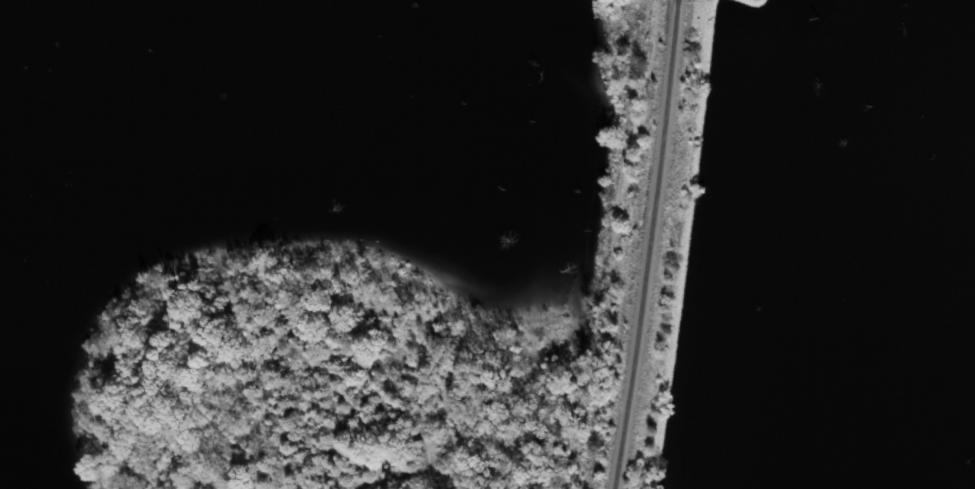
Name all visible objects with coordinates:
railway: (649, 245)

